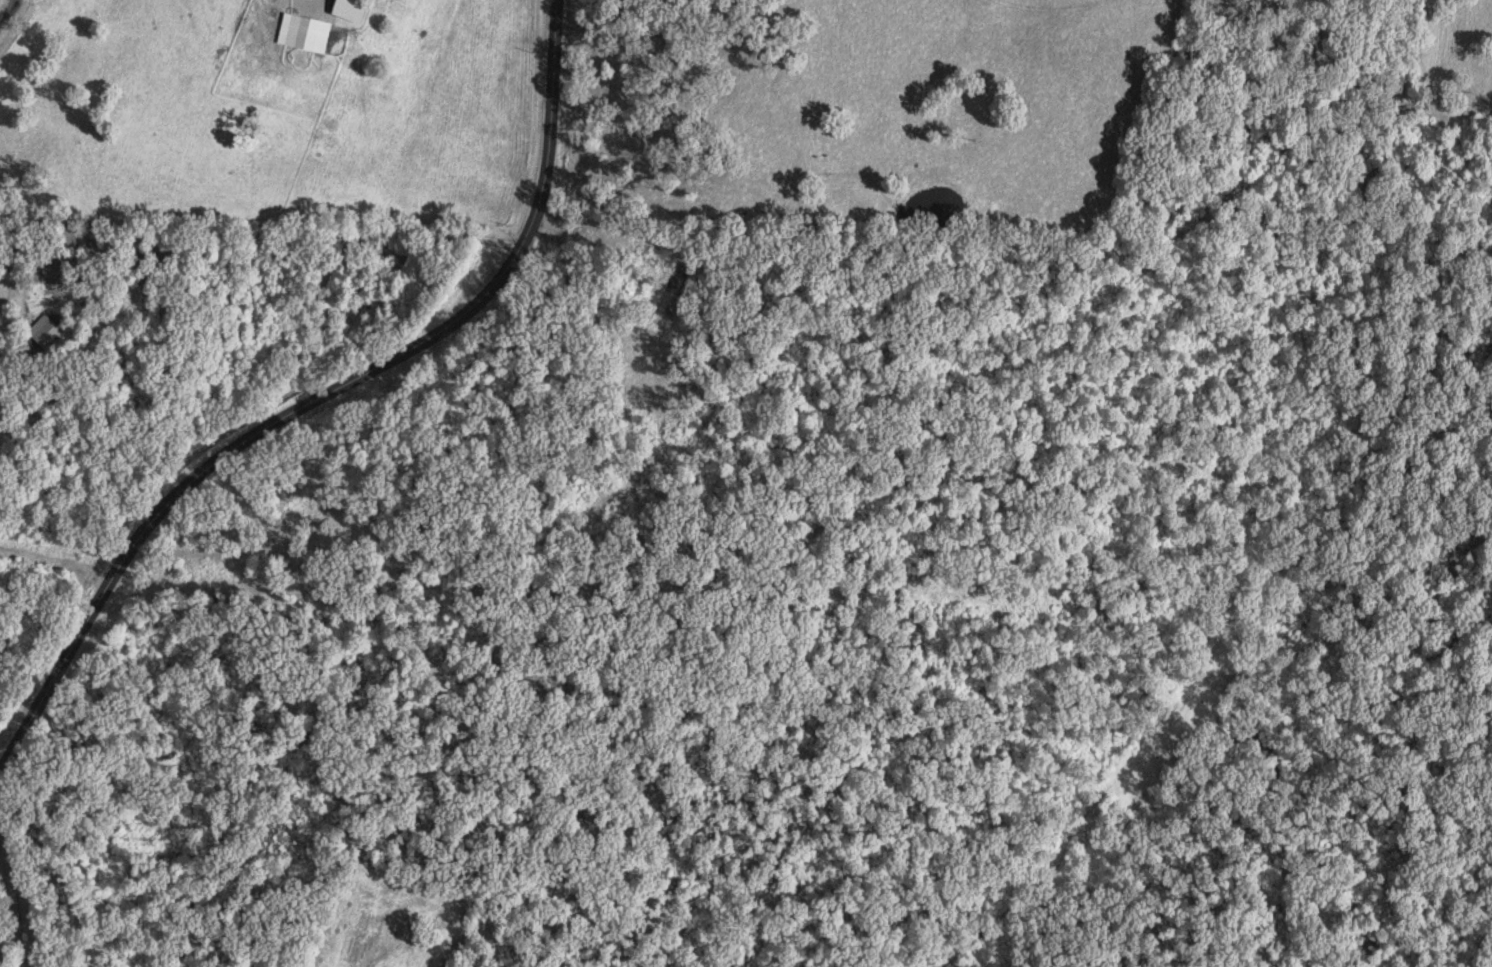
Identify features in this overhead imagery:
building: (298, 0)
building: (303, 37)
road: (12, 311)
road: (324, 396)
road: (12, 897)
road: (20, 962)
road: (24, 962)

